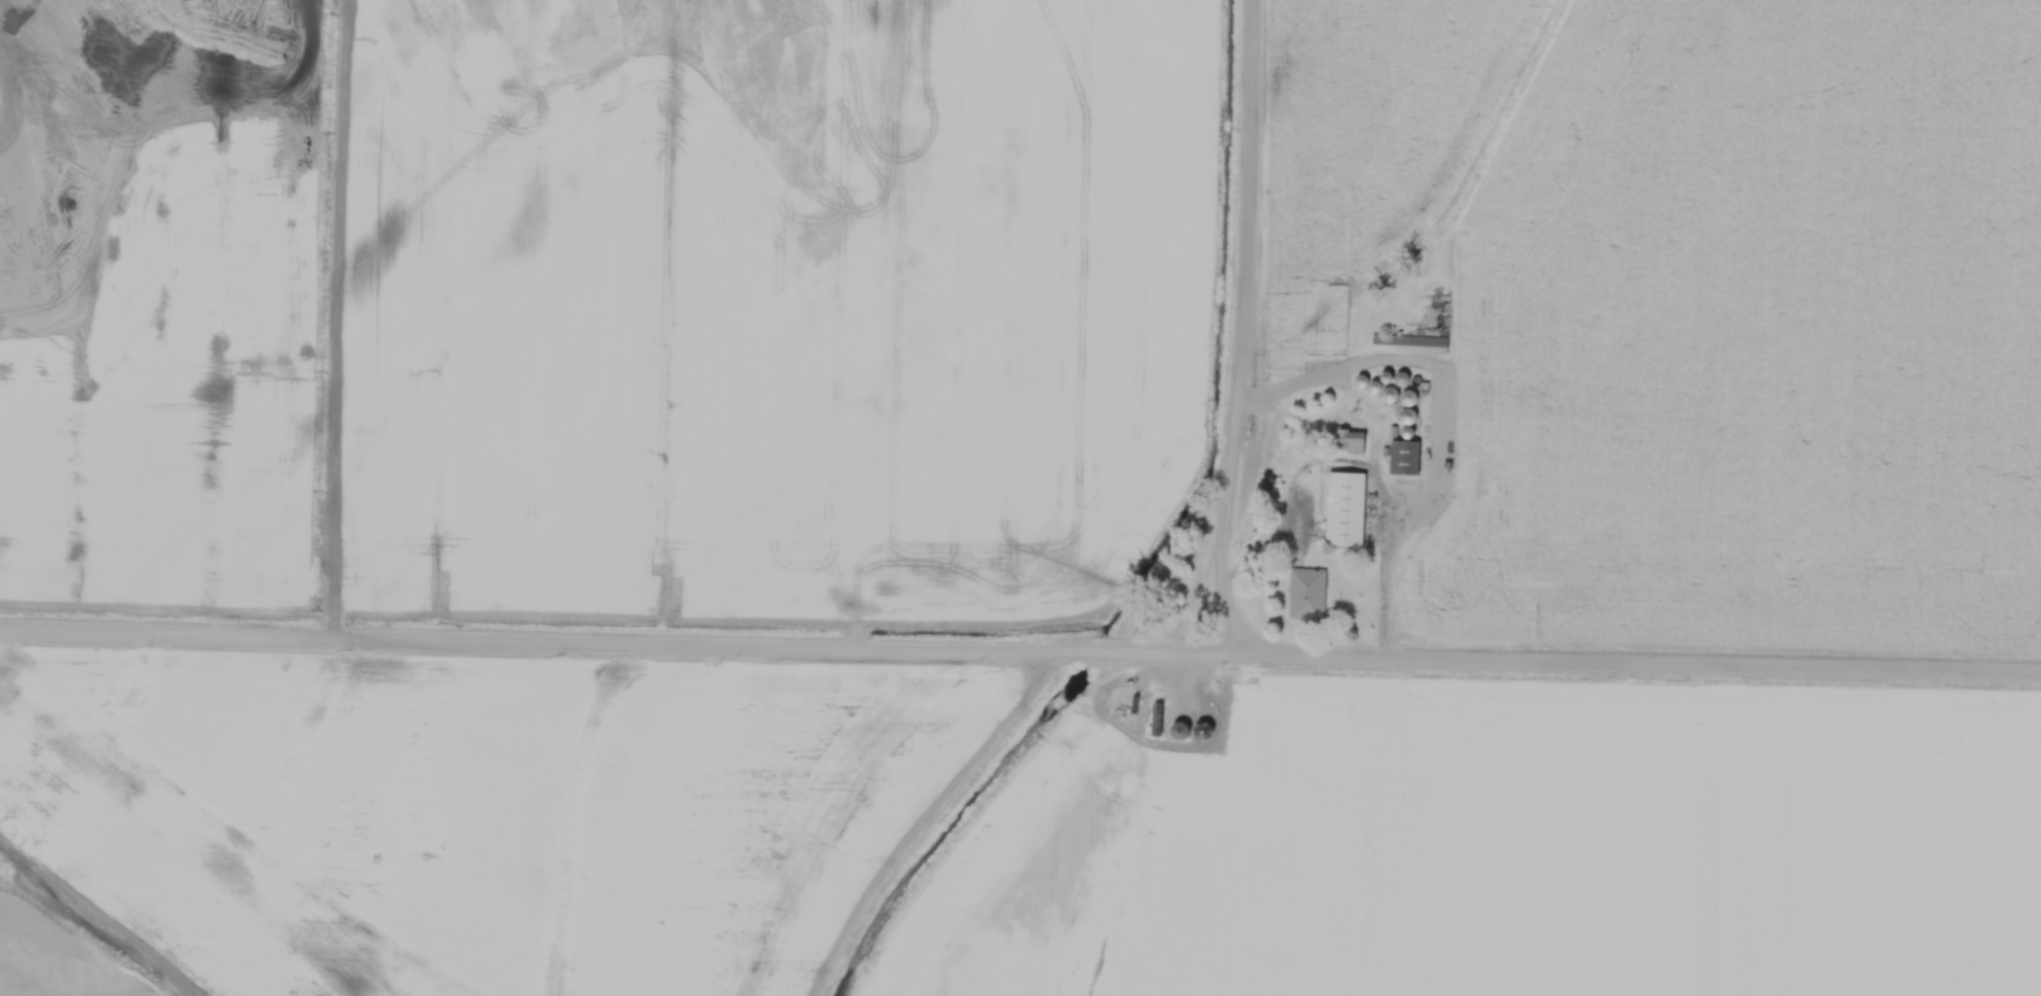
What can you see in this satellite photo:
road: (1250, 323)
building: (1410, 341)
building: (1347, 507)
building: (1308, 591)
road: (622, 635)
road: (1642, 657)
building: (1206, 704)
building: (1159, 719)
building: (1206, 725)

